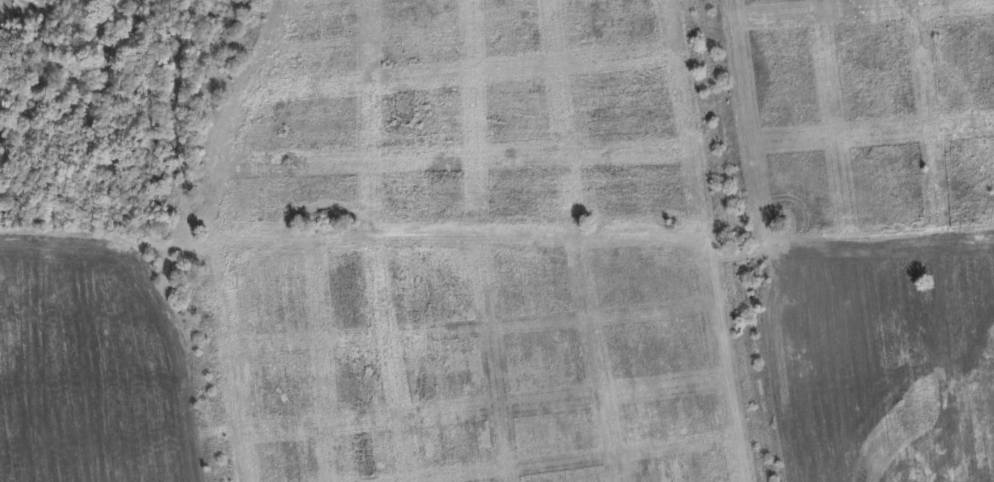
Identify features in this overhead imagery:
park: (80, 117)

